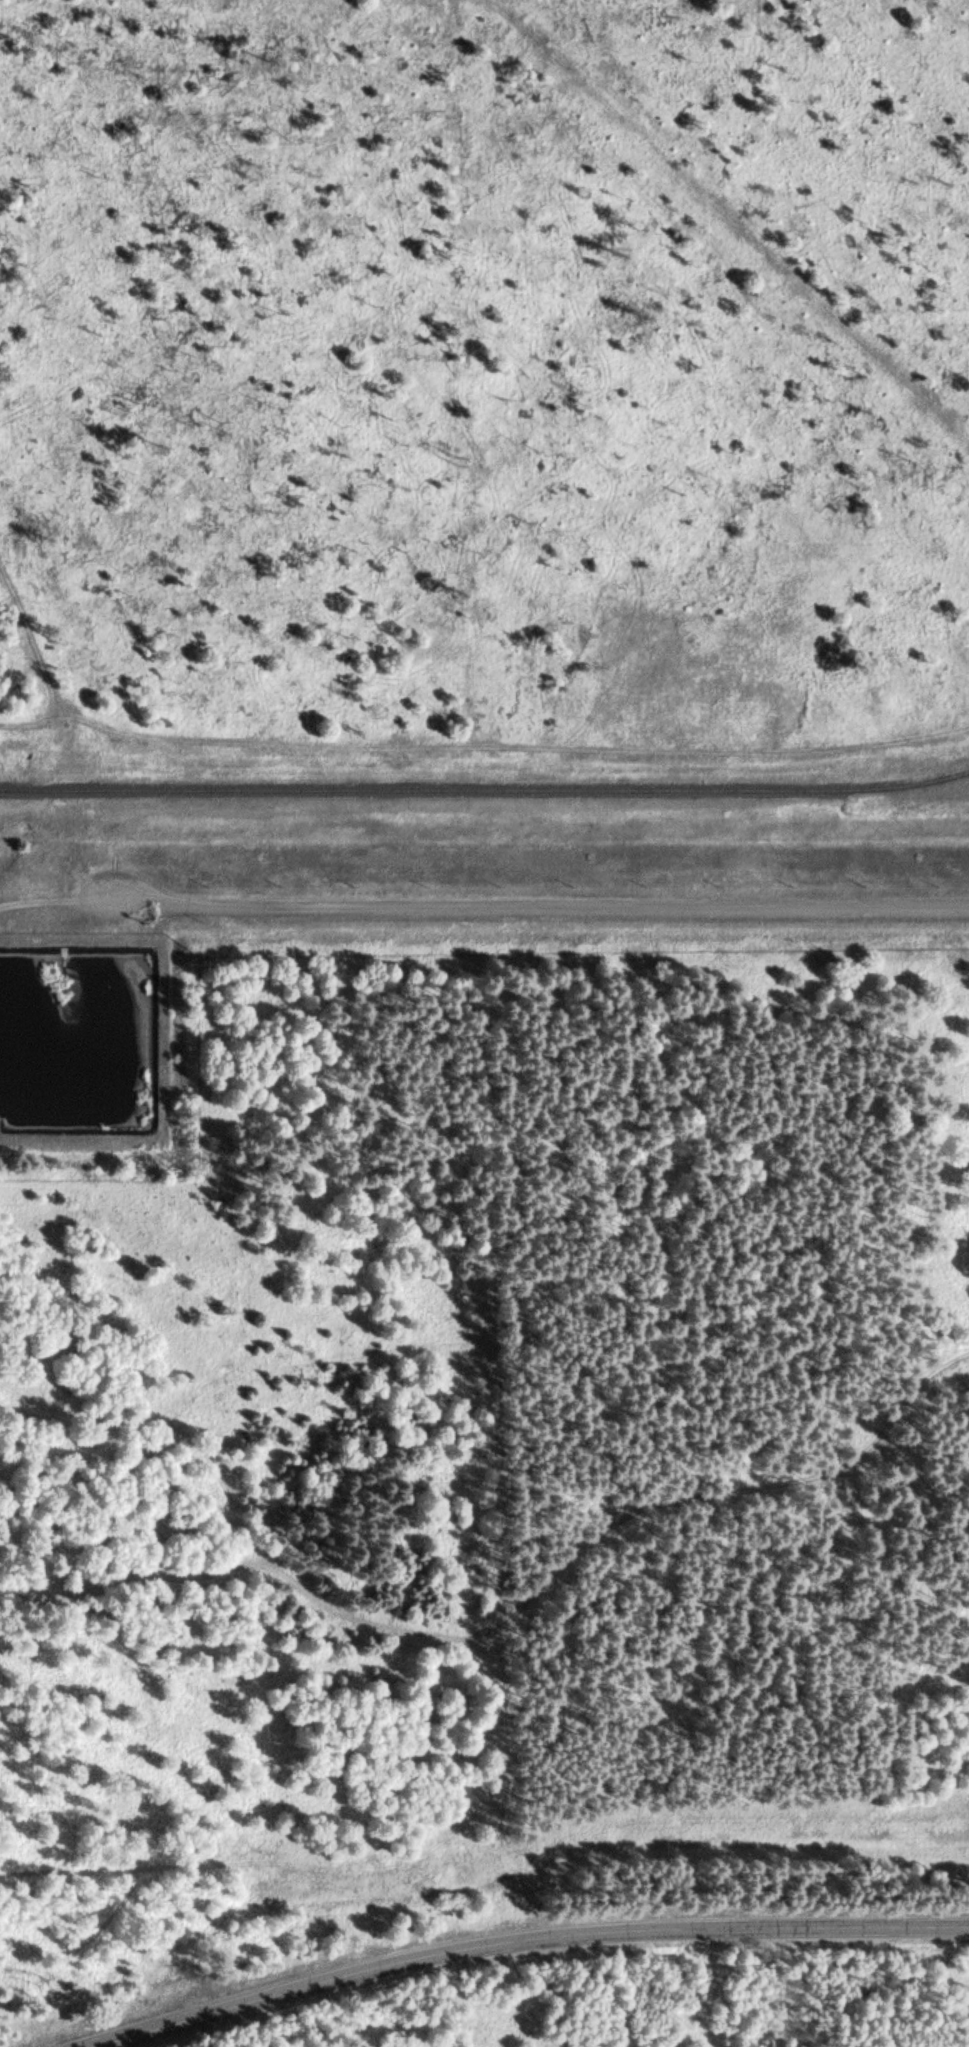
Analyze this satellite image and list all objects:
railway: (485, 788)
road: (536, 905)
road: (519, 1932)

